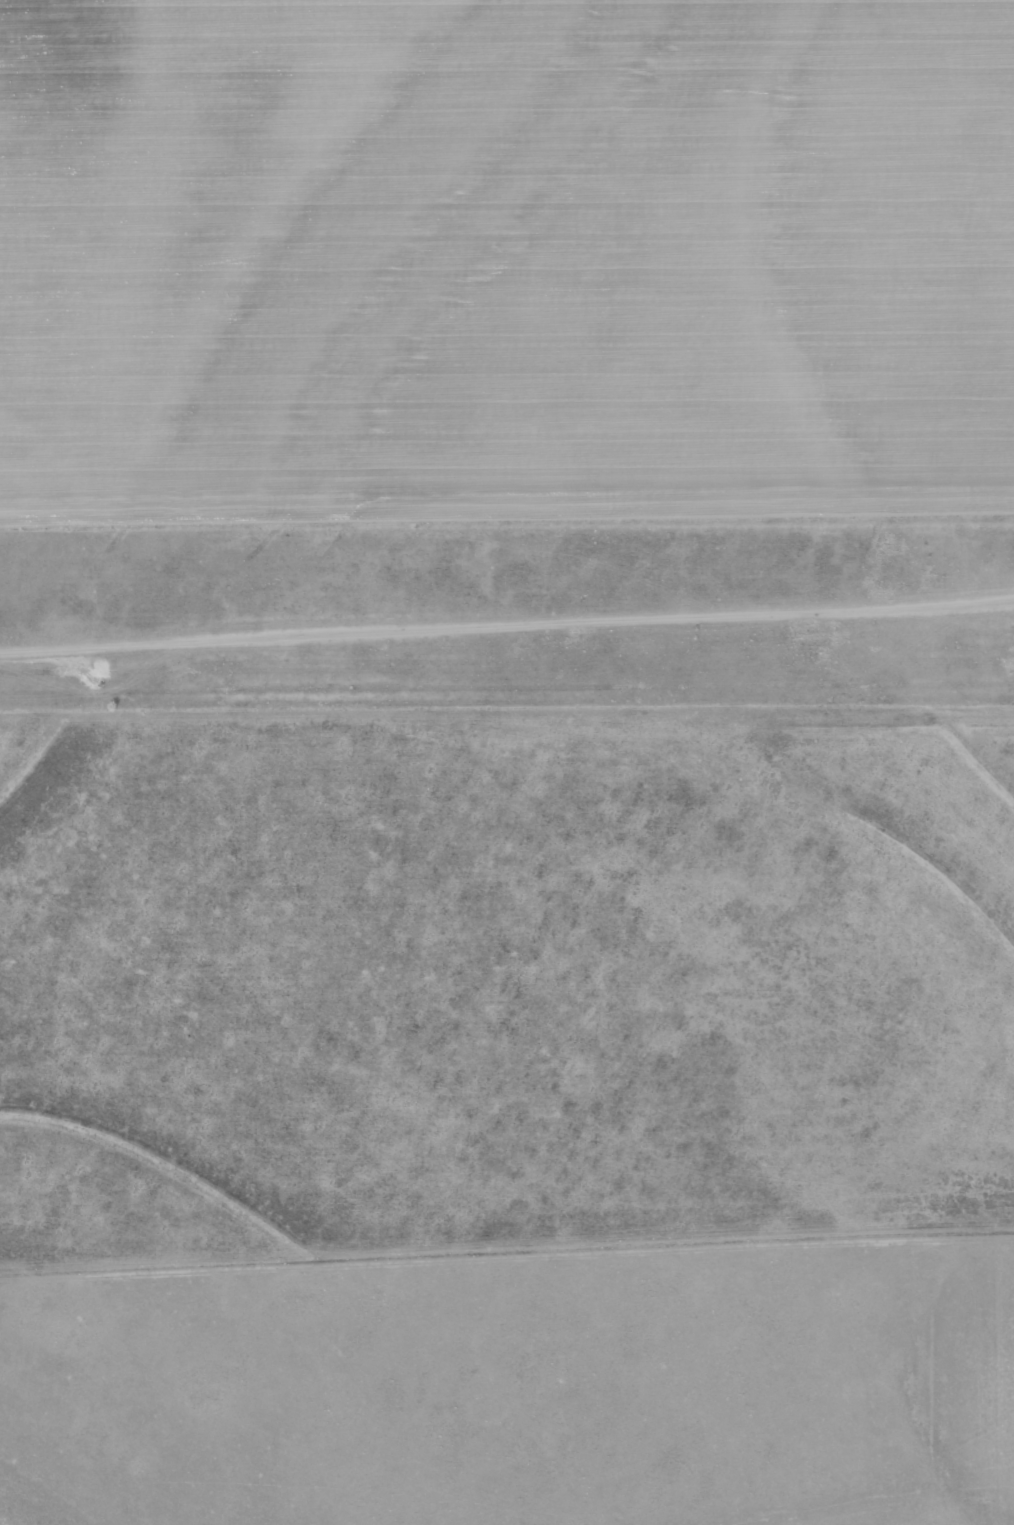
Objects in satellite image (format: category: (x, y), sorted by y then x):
road: (506, 625)

